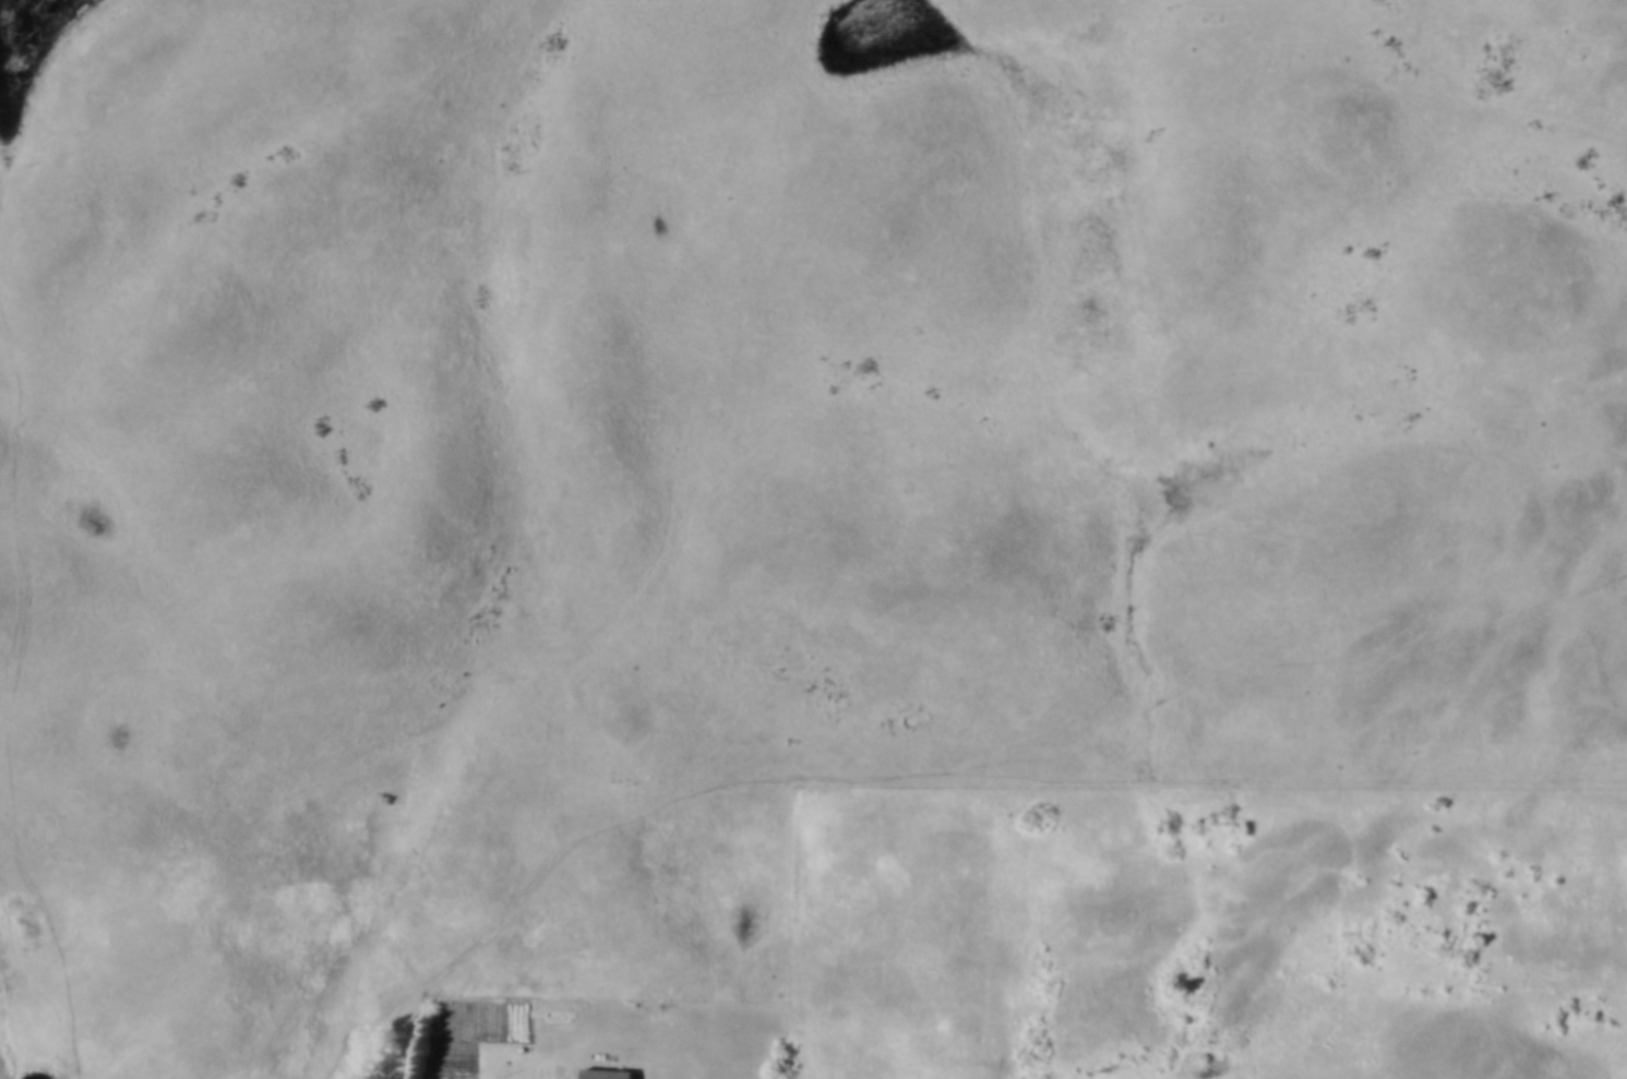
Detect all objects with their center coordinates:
building: (606, 1075)

